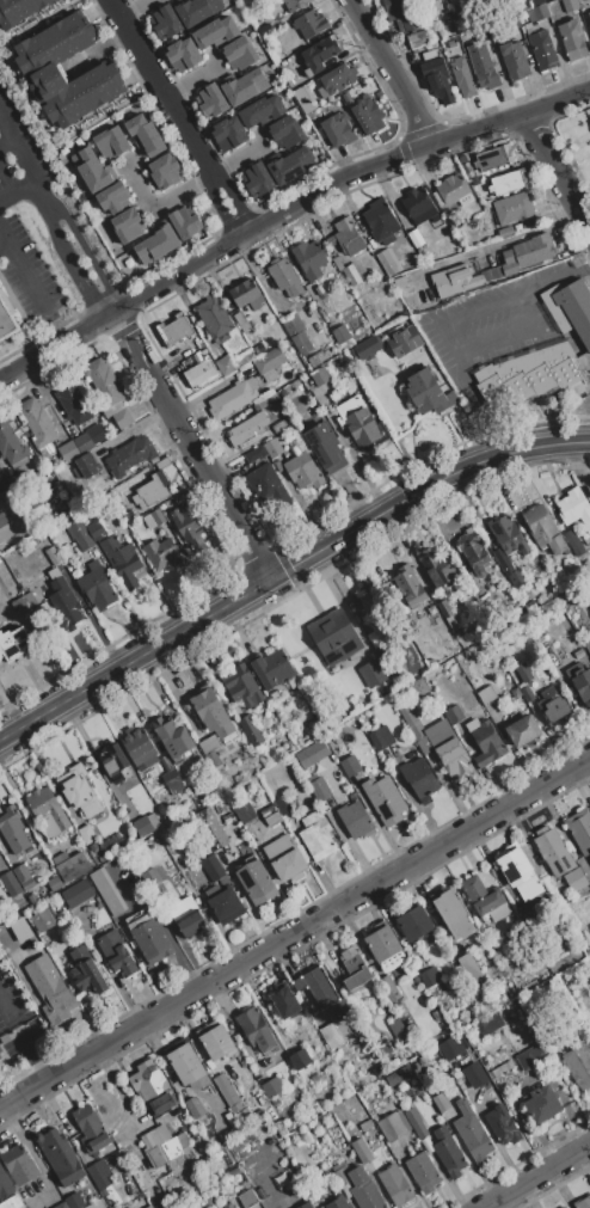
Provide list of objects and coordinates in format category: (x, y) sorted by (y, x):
building: (549, 0)
building: (454, 1)
building: (535, 2)
building: (293, 4)
building: (430, 5)
building: (570, 5)
building: (19, 10)
road: (140, 10)
building: (197, 11)
building: (400, 16)
building: (588, 16)
road: (38, 22)
building: (165, 22)
building: (514, 22)
building: (309, 24)
building: (589, 29)
building: (264, 30)
building: (540, 39)
building: (416, 41)
building: (572, 41)
building: (238, 42)
building: (451, 44)
building: (277, 50)
building: (319, 54)
building: (183, 55)
building: (514, 60)
building: (481, 66)
building: (39, 69)
road: (395, 72)
building: (436, 75)
building: (462, 76)
building: (338, 78)
road: (192, 81)
building: (245, 86)
road: (162, 87)
building: (210, 100)
building: (302, 100)
building: (367, 115)
building: (272, 121)
building: (589, 122)
road: (514, 123)
building: (338, 129)
building: (228, 133)
building: (145, 135)
road: (57, 140)
road: (5, 141)
building: (111, 143)
building: (313, 148)
road: (18, 149)
building: (316, 154)
building: (493, 158)
road: (241, 160)
building: (289, 166)
building: (91, 170)
building: (165, 171)
road: (560, 172)
building: (475, 178)
building: (257, 179)
building: (508, 182)
road: (339, 183)
road: (18, 190)
building: (451, 191)
building: (112, 198)
building: (416, 202)
road: (164, 204)
road: (232, 206)
road: (220, 208)
building: (512, 208)
road: (44, 219)
building: (379, 220)
building: (184, 222)
building: (436, 222)
building: (128, 225)
building: (517, 228)
parking lot: (43, 232)
building: (504, 232)
building: (106, 235)
building: (345, 237)
building: (416, 240)
road: (79, 243)
road: (2, 245)
building: (156, 245)
building: (490, 245)
building: (527, 253)
building: (308, 258)
building: (128, 262)
building: (337, 263)
building: (386, 263)
building: (481, 264)
road: (183, 271)
road: (23, 272)
building: (491, 272)
building: (351, 275)
building: (283, 277)
building: (454, 281)
road: (81, 284)
building: (319, 292)
building: (246, 294)
building: (428, 294)
building: (569, 309)
road: (109, 313)
road: (127, 314)
building: (213, 317)
road: (447, 318)
building: (241, 321)
building: (5, 324)
building: (174, 329)
building: (296, 332)
building: (339, 333)
road: (506, 333)
building: (402, 342)
road: (50, 347)
building: (367, 348)
building: (269, 360)
building: (314, 361)
building: (226, 364)
building: (368, 367)
building: (199, 369)
building: (533, 374)
building: (319, 375)
building: (104, 382)
building: (426, 392)
building: (233, 399)
building: (73, 400)
building: (122, 418)
building: (36, 422)
building: (361, 423)
building: (248, 429)
building: (96, 434)
building: (11, 440)
building: (81, 443)
building: (325, 447)
building: (67, 452)
road: (195, 454)
building: (129, 455)
building: (250, 456)
building: (87, 465)
building: (246, 468)
building: (302, 471)
building: (268, 488)
building: (152, 491)
building: (183, 497)
building: (573, 508)
building: (10, 516)
building: (153, 519)
building: (188, 525)
building: (543, 528)
building: (96, 529)
building: (76, 531)
building: (506, 534)
building: (573, 542)
building: (473, 551)
building: (160, 554)
building: (53, 557)
building: (121, 560)
road: (287, 568)
building: (508, 569)
building: (437, 570)
building: (96, 587)
building: (407, 587)
building: (63, 601)
building: (20, 605)
building: (431, 609)
building: (437, 619)
building: (334, 636)
building: (14, 644)
building: (588, 646)
building: (272, 668)
building: (371, 673)
building: (582, 683)
building: (242, 686)
building: (420, 686)
building: (486, 694)
building: (208, 707)
building: (557, 711)
building: (475, 712)
building: (453, 715)
building: (250, 730)
building: (522, 730)
building: (172, 736)
building: (385, 736)
building: (487, 743)
building: (140, 747)
building: (209, 747)
building: (445, 748)
building: (398, 749)
building: (312, 753)
building: (113, 760)
building: (165, 764)
building: (350, 765)
building: (418, 779)
building: (172, 781)
building: (337, 783)
building: (319, 789)
building: (79, 791)
building: (383, 799)
building: (282, 804)
building: (47, 811)
building: (244, 813)
building: (270, 815)
building: (356, 820)
building: (146, 823)
building: (12, 828)
building: (210, 828)
building: (579, 829)
building: (86, 834)
building: (315, 835)
building: (111, 842)
building: (92, 847)
building: (553, 851)
building: (285, 859)
building: (69, 865)
building: (211, 867)
building: (21, 872)
building: (520, 873)
building: (574, 878)
building: (256, 882)
building: (11, 883)
building: (54, 883)
building: (106, 890)
building: (76, 893)
building: (480, 896)
building: (226, 906)
building: (454, 914)
building: (186, 916)
building: (42, 920)
building: (416, 922)
building: (589, 926)
building: (21, 932)
road: (295, 933)
building: (149, 938)
building: (382, 943)
building: (116, 952)
building: (352, 968)
building: (469, 968)
building: (85, 973)
building: (430, 976)
building: (316, 987)
building: (388, 988)
building: (50, 989)
building: (284, 1002)
road: (7, 1004)
building: (488, 1023)
building: (397, 1026)
building: (256, 1030)
building: (331, 1035)
building: (217, 1042)
building: (453, 1045)
road: (32, 1048)
building: (0, 1050)
building: (0, 1056)
building: (528, 1057)
building: (0, 1059)
building: (300, 1059)
building: (185, 1063)
building: (209, 1065)
building: (579, 1065)
building: (502, 1068)
building: (228, 1073)
building: (473, 1074)
building: (315, 1078)
building: (393, 1079)
building: (272, 1086)
building: (153, 1087)
building: (225, 1090)
building: (440, 1103)
building: (541, 1104)
building: (193, 1106)
building: (235, 1108)
building: (402, 1120)
building: (416, 1122)
building: (365, 1124)
building: (502, 1124)
building: (391, 1127)
building: (90, 1129)
building: (472, 1132)
building: (162, 1145)
building: (362, 1151)
building: (447, 1152)
building: (60, 1157)
building: (18, 1164)
building: (423, 1172)
building: (233, 1173)
building: (99, 1175)
road: (534, 1175)
building: (342, 1176)
building: (282, 1179)
building: (395, 1184)
building: (5, 1185)
building: (363, 1189)
building: (259, 1190)
building: (247, 1198)
building: (12, 1202)
building: (337, 1202)
building: (583, 1202)
building: (97, 1204)
building: (227, 1204)
building: (61, 1206)
building: (306, 1206)
building: (23, 1207)
building: (149, 1207)
building: (564, 1207)

